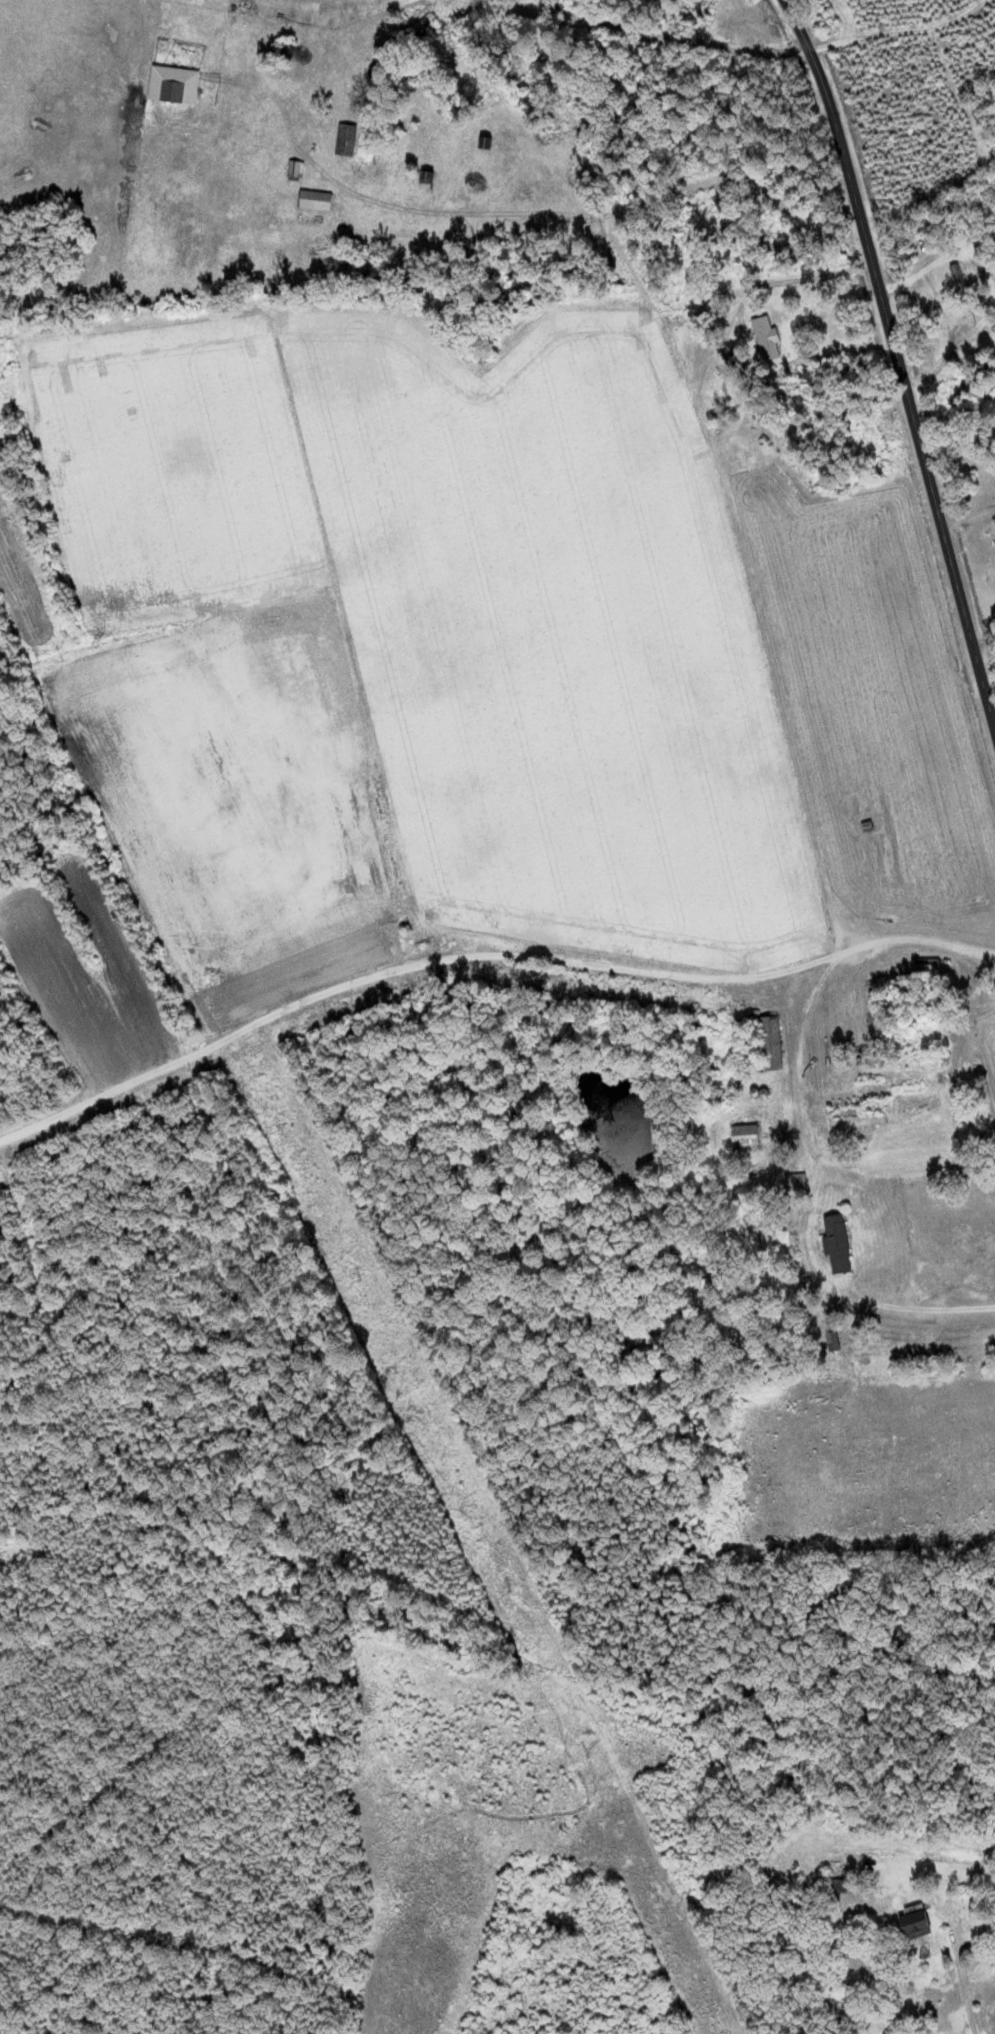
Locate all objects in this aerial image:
building: (179, 83)
building: (350, 138)
building: (319, 199)
building: (770, 337)
road: (898, 364)
road: (868, 947)
road: (361, 993)
building: (777, 1043)
building: (751, 1135)
building: (800, 1184)
building: (842, 1243)
building: (922, 1924)

